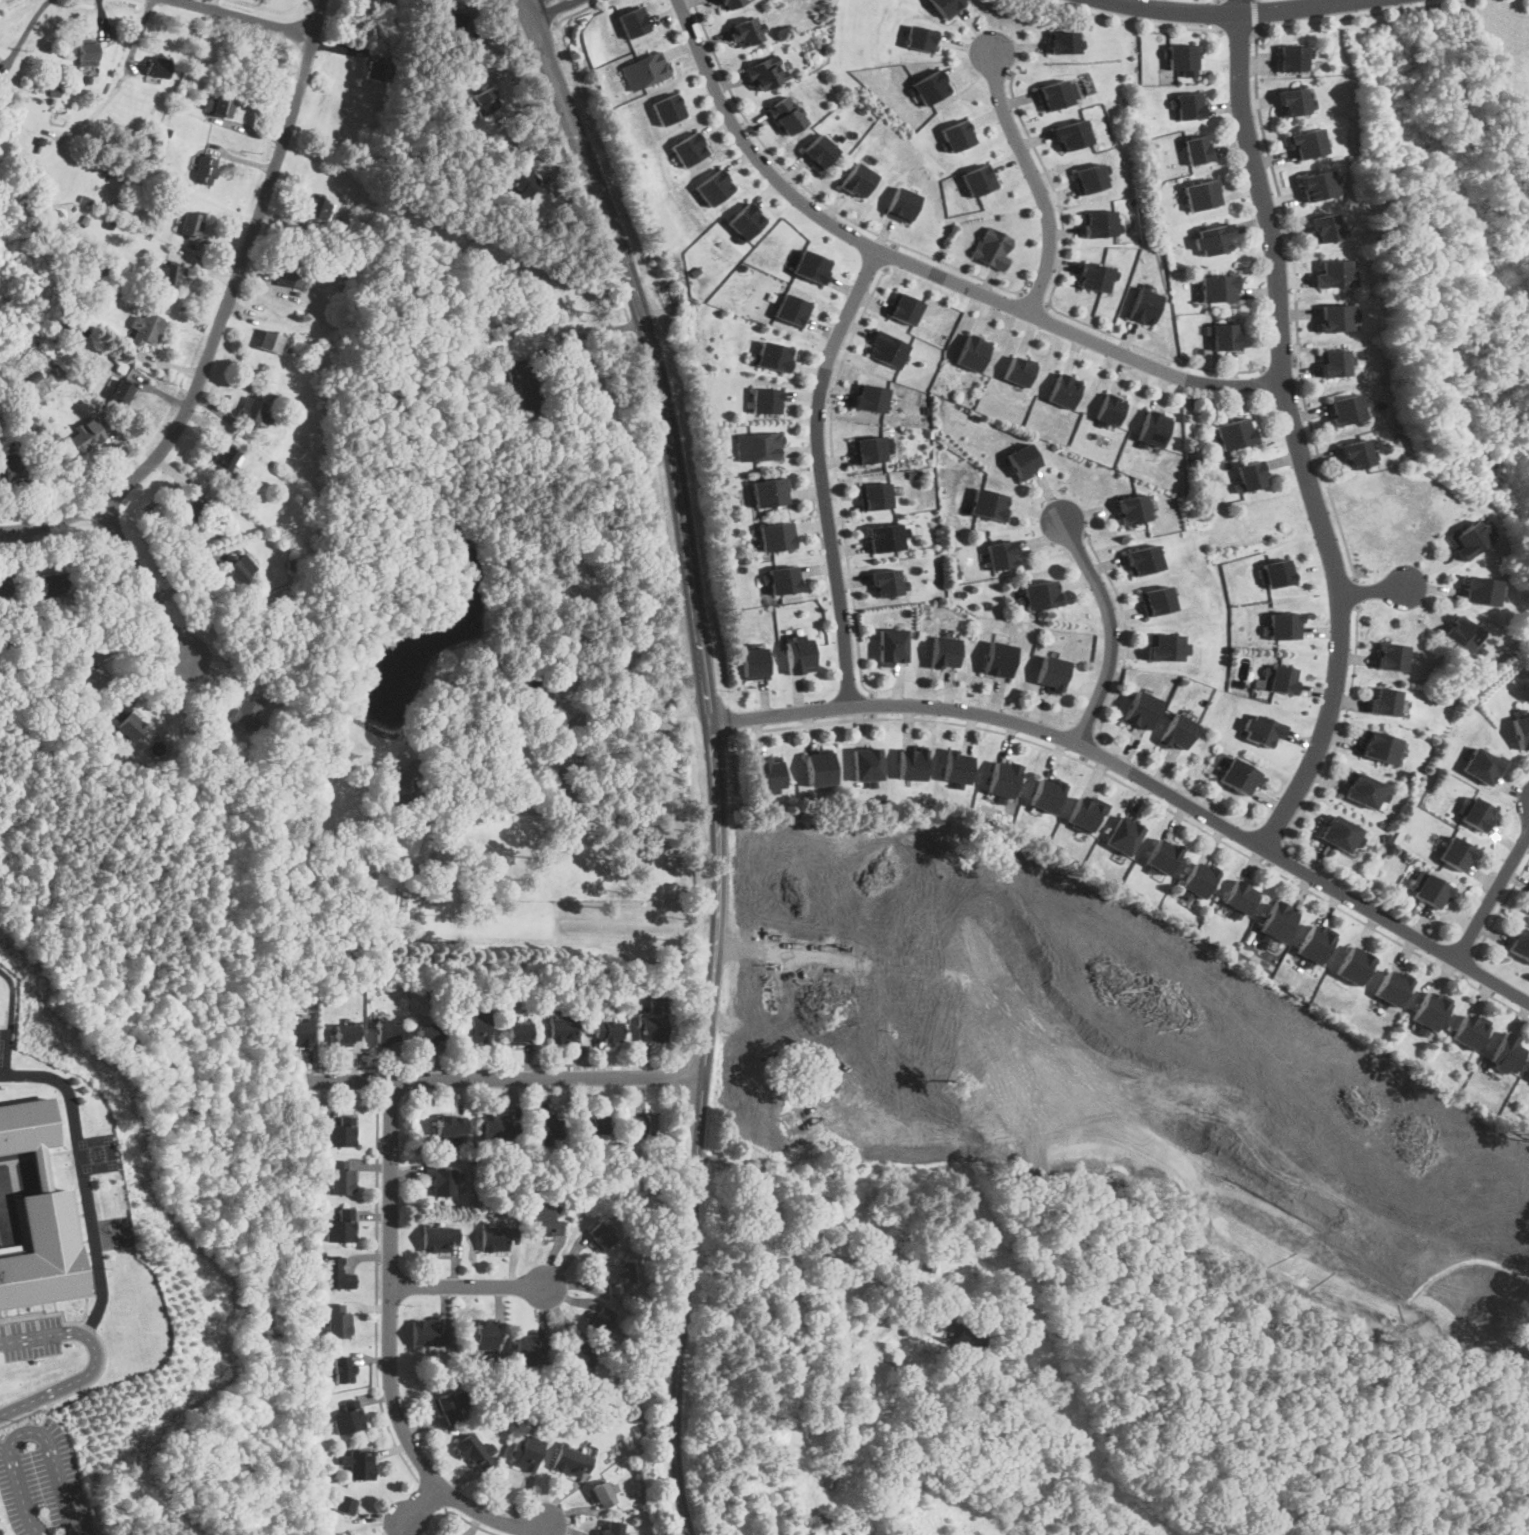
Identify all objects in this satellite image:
building: (727, 3)
road: (541, 5)
building: (947, 5)
road: (1238, 6)
road: (548, 11)
road: (575, 12)
road: (1228, 13)
road: (1218, 14)
road: (1254, 14)
road: (248, 17)
building: (452, 20)
road: (1136, 20)
building: (632, 21)
road: (1238, 29)
road: (26, 30)
building: (746, 31)
building: (922, 37)
building: (1061, 40)
building: (85, 53)
building: (1180, 56)
building: (1291, 56)
building: (155, 65)
building: (371, 70)
building: (644, 70)
building: (765, 72)
building: (932, 84)
road: (298, 89)
building: (1052, 93)
building: (482, 100)
building: (1292, 101)
building: (217, 105)
building: (1186, 106)
building: (672, 109)
building: (785, 115)
road: (254, 130)
road: (575, 131)
building: (1069, 133)
building: (955, 134)
building: (1306, 143)
road: (767, 145)
building: (688, 148)
building: (1195, 149)
building: (817, 150)
building: (204, 170)
building: (1086, 175)
building: (974, 178)
building: (854, 180)
road: (1033, 180)
building: (520, 183)
building: (1316, 185)
building: (714, 187)
building: (1200, 194)
building: (897, 204)
road: (1282, 204)
building: (317, 206)
building: (744, 220)
building: (1095, 222)
building: (189, 223)
building: (1324, 227)
building: (1213, 238)
building: (988, 247)
road: (887, 255)
building: (814, 265)
road: (957, 269)
road: (925, 270)
building: (1333, 273)
building: (165, 274)
building: (1094, 275)
building: (288, 276)
building: (1218, 288)
road: (1032, 299)
road: (1050, 299)
building: (1145, 304)
road: (1047, 305)
building: (900, 308)
building: (789, 310)
building: (1334, 318)
building: (144, 328)
road: (586, 335)
building: (1224, 336)
building: (268, 341)
building: (890, 348)
building: (976, 353)
building: (771, 356)
road: (1296, 359)
building: (1332, 363)
road: (1280, 364)
building: (1016, 371)
building: (526, 386)
building: (1063, 388)
building: (120, 391)
building: (868, 398)
building: (770, 400)
road: (187, 403)
building: (604, 405)
building: (1112, 408)
building: (1344, 409)
building: (248, 411)
building: (1155, 426)
building: (1234, 433)
building: (83, 436)
road: (1297, 436)
building: (756, 446)
building: (867, 449)
building: (1355, 454)
building: (223, 457)
building: (1022, 460)
building: (11, 471)
road: (822, 472)
building: (1249, 475)
road: (836, 478)
building: (766, 492)
building: (873, 496)
building: (988, 504)
building: (1131, 509)
building: (191, 512)
building: (773, 536)
building: (888, 537)
building: (1464, 540)
building: (999, 555)
building: (1144, 558)
building: (234, 571)
building: (1276, 572)
building: (781, 579)
road: (145, 582)
building: (883, 582)
road: (1373, 589)
building: (52, 590)
road: (1352, 590)
building: (1478, 591)
building: (3, 594)
building: (1039, 594)
building: (1154, 600)
road: (1109, 625)
building: (1281, 625)
road: (1124, 632)
building: (1461, 634)
building: (890, 646)
building: (1163, 647)
building: (268, 648)
building: (942, 652)
building: (796, 653)
building: (1395, 655)
building: (997, 659)
building: (752, 663)
building: (1049, 673)
building: (1279, 679)
building: (93, 680)
building: (532, 692)
building: (1383, 701)
road: (872, 705)
building: (1137, 709)
road: (635, 711)
building: (244, 716)
building: (129, 726)
road: (1340, 729)
building: (1259, 730)
building: (1521, 730)
building: (1175, 732)
building: (1375, 746)
road: (1088, 748)
building: (908, 764)
building: (863, 765)
building: (1480, 766)
building: (955, 767)
building: (817, 769)
building: (766, 775)
road: (1143, 776)
building: (1236, 776)
building: (406, 777)
building: (1001, 779)
building: (1360, 790)
building: (1044, 795)
road: (1150, 799)
building: (991, 813)
building: (1472, 813)
building: (1081, 815)
building: (1338, 834)
building: (1121, 835)
road: (1276, 854)
building: (1455, 854)
building: (1161, 856)
building: (1198, 880)
building: (1431, 891)
road: (1492, 895)
road: (718, 896)
building: (1239, 898)
road: (1502, 907)
building: (1528, 907)
building: (1276, 921)
building: (1520, 944)
building: (1313, 946)
building: (1353, 965)
road: (1469, 966)
building: (1392, 986)
building: (1429, 1010)
building: (830, 1014)
road: (9, 1020)
building: (652, 1022)
building: (474, 1026)
building: (562, 1030)
building: (605, 1031)
building: (1468, 1031)
building: (385, 1032)
building: (427, 1032)
building: (516, 1033)
building: (296, 1034)
building: (344, 1034)
building: (1506, 1052)
road: (487, 1065)
road: (497, 1077)
road: (378, 1082)
building: (593, 1122)
building: (644, 1123)
building: (28, 1125)
building: (449, 1126)
building: (498, 1126)
building: (548, 1130)
building: (340, 1133)
road: (84, 1177)
building: (341, 1177)
building: (440, 1179)
building: (543, 1220)
building: (339, 1225)
building: (495, 1236)
building: (599, 1236)
building: (438, 1238)
building: (44, 1252)
building: (334, 1272)
building: (617, 1275)
road: (469, 1285)
road: (376, 1294)
building: (598, 1318)
building: (336, 1320)
building: (428, 1333)
building: (484, 1335)
building: (965, 1343)
road: (390, 1346)
building: (524, 1349)
building: (890, 1355)
road: (93, 1358)
building: (574, 1358)
building: (342, 1368)
building: (448, 1405)
building: (347, 1417)
road: (26, 1431)
building: (472, 1450)
building: (525, 1452)
building: (570, 1461)
building: (359, 1463)
road: (432, 1494)
building: (601, 1494)
building: (343, 1504)
road: (419, 1505)
road: (470, 1522)
building: (615, 1527)

